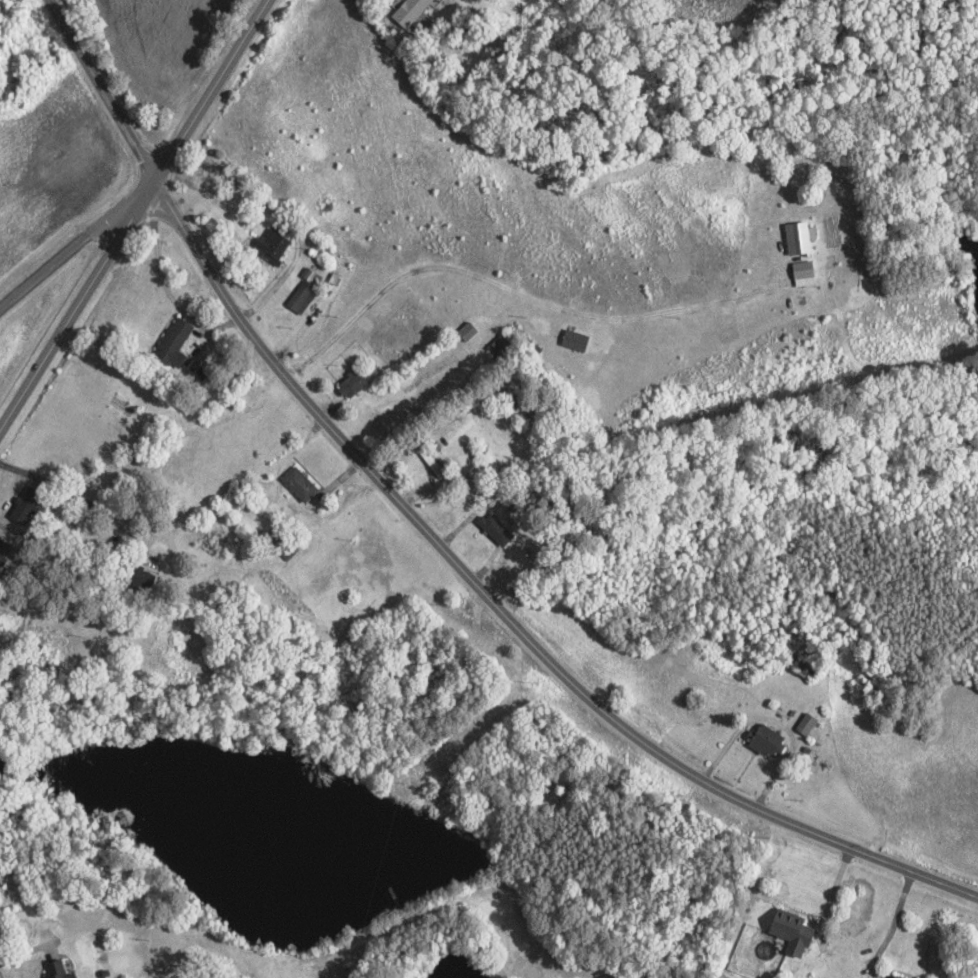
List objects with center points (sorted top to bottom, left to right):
building: (415, 11)
building: (430, 26)
road: (125, 202)
building: (797, 238)
building: (273, 244)
road: (58, 262)
building: (304, 297)
building: (470, 331)
building: (575, 340)
building: (177, 344)
building: (502, 344)
building: (355, 384)
building: (509, 393)
building: (434, 464)
building: (302, 484)
building: (30, 505)
building: (496, 529)
road: (437, 530)
building: (137, 578)
building: (806, 725)
building: (766, 741)
building: (796, 931)
building: (56, 970)

